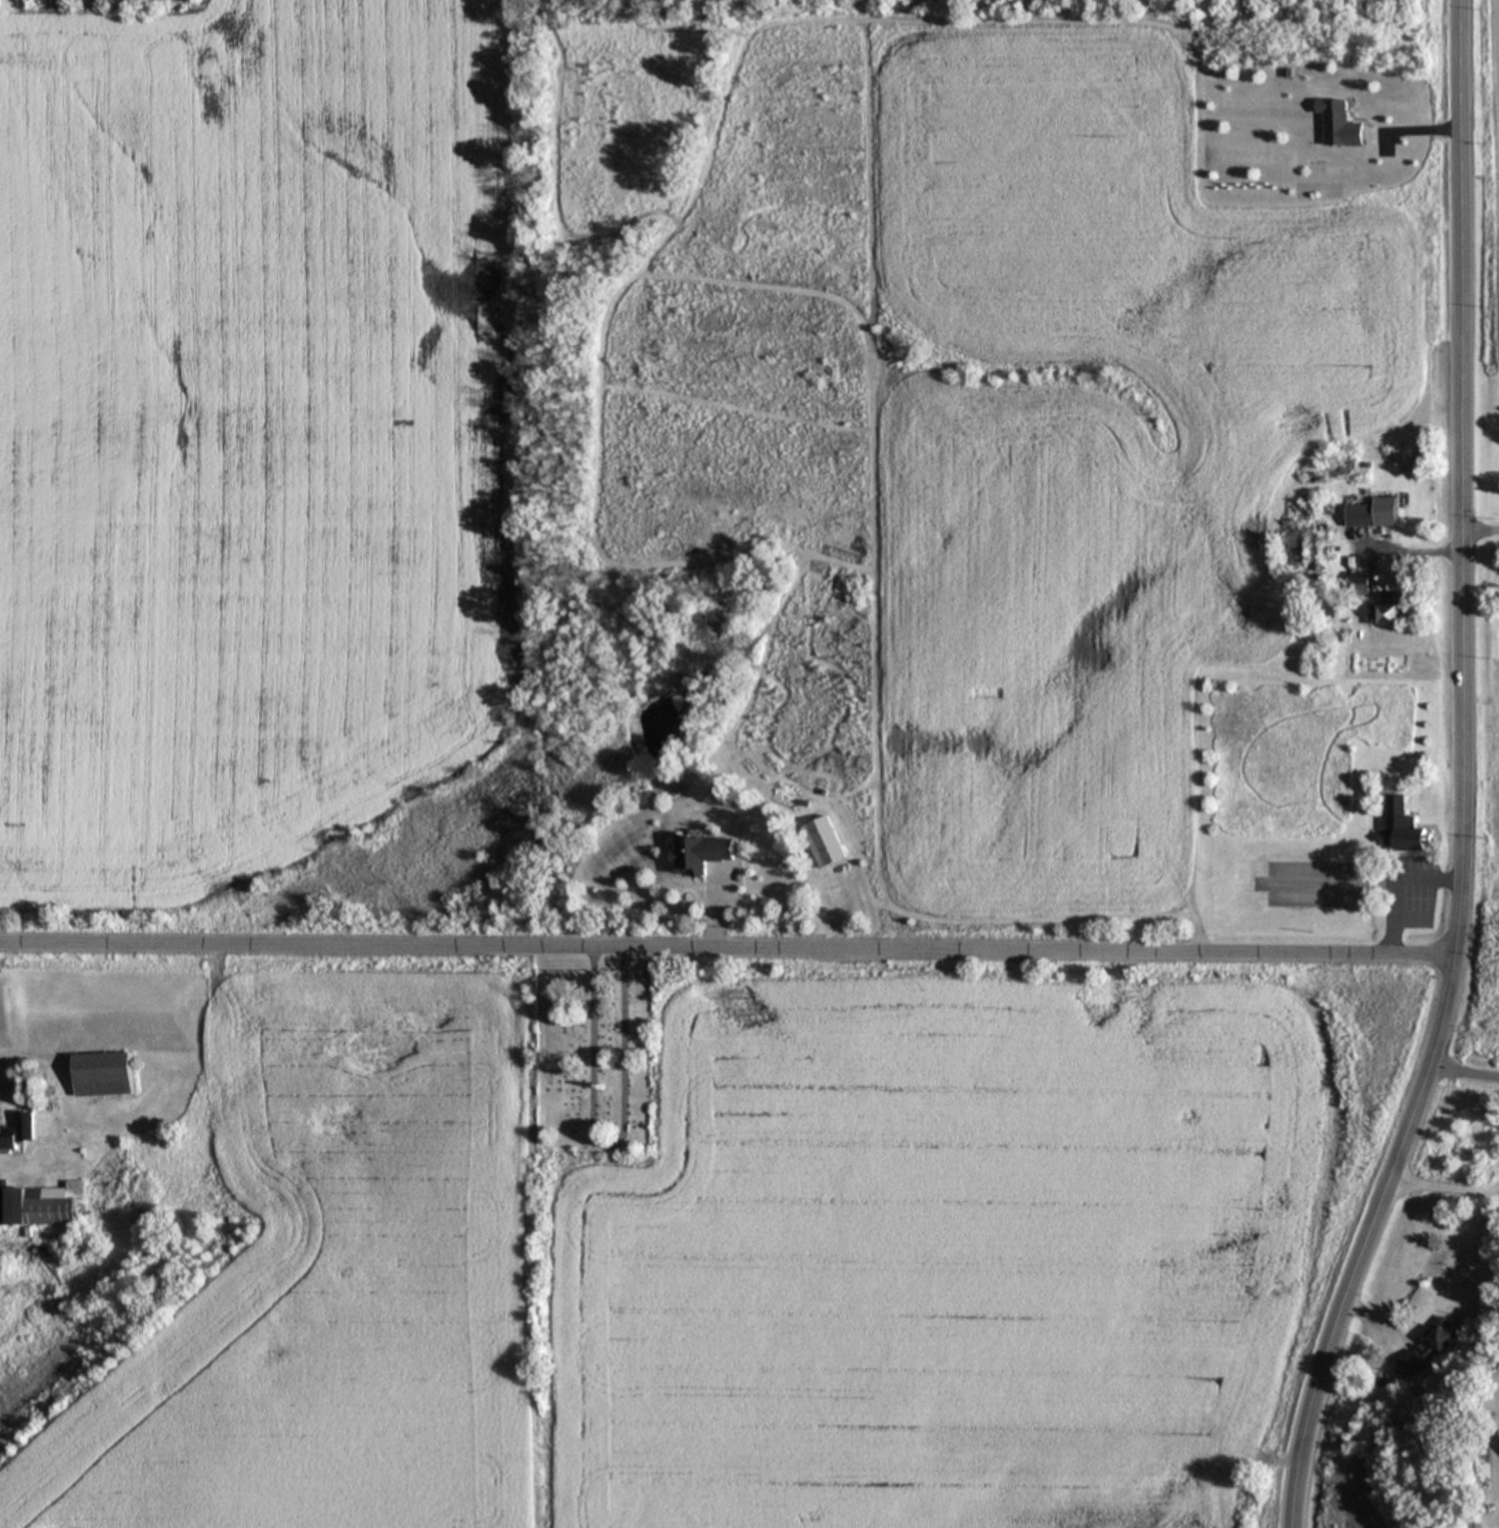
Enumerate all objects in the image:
building: (1343, 125)
building: (1377, 516)
road: (1483, 529)
building: (1300, 552)
building: (1390, 611)
road: (1465, 776)
building: (1402, 831)
building: (828, 845)
building: (704, 856)
road: (1397, 884)
road: (729, 951)
road: (1465, 1066)
park: (594, 1071)
building: (106, 1076)
building: (20, 1134)
road: (1446, 1183)
building: (45, 1208)
building: (1424, 1350)

